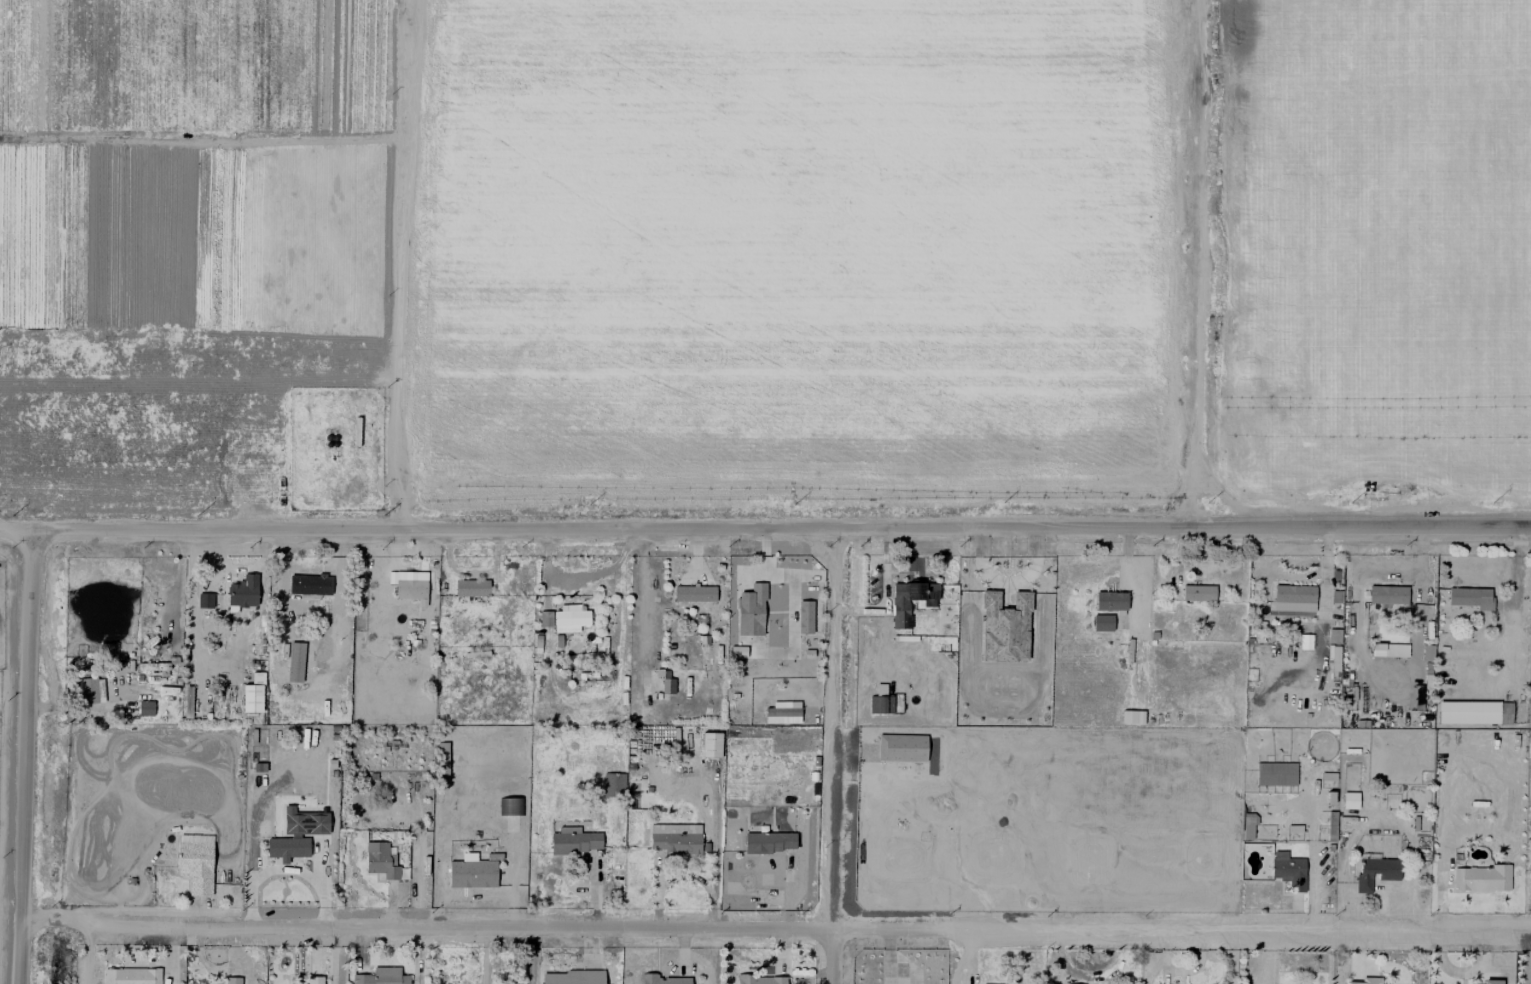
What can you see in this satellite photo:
road: (409, 262)
road: (1194, 262)
road: (765, 521)
road: (579, 579)
building: (410, 584)
building: (310, 585)
building: (471, 587)
building: (243, 591)
building: (1198, 592)
building: (694, 593)
building: (1388, 594)
building: (1296, 595)
building: (1471, 597)
building: (205, 600)
building: (1110, 601)
building: (926, 603)
building: (570, 617)
building: (546, 618)
building: (1102, 622)
building: (756, 625)
building: (1334, 635)
building: (1389, 649)
building: (1427, 652)
building: (153, 665)
building: (667, 683)
building: (88, 690)
building: (146, 707)
building: (783, 712)
building: (1474, 712)
building: (1132, 716)
road: (832, 725)
building: (711, 744)
building: (443, 753)
road: (27, 757)
building: (1276, 773)
building: (1350, 800)
building: (511, 808)
building: (304, 821)
building: (1249, 825)
building: (676, 838)
building: (574, 840)
building: (769, 841)
building: (287, 847)
building: (381, 860)
building: (1288, 869)
building: (472, 871)
building: (1376, 871)
building: (1482, 878)
road: (776, 928)
road: (828, 956)
building: (132, 975)
building: (381, 976)
building: (572, 977)
building: (663, 979)
building: (761, 979)
building: (232, 980)
building: (310, 980)
building: (1367, 980)
building: (1492, 981)

